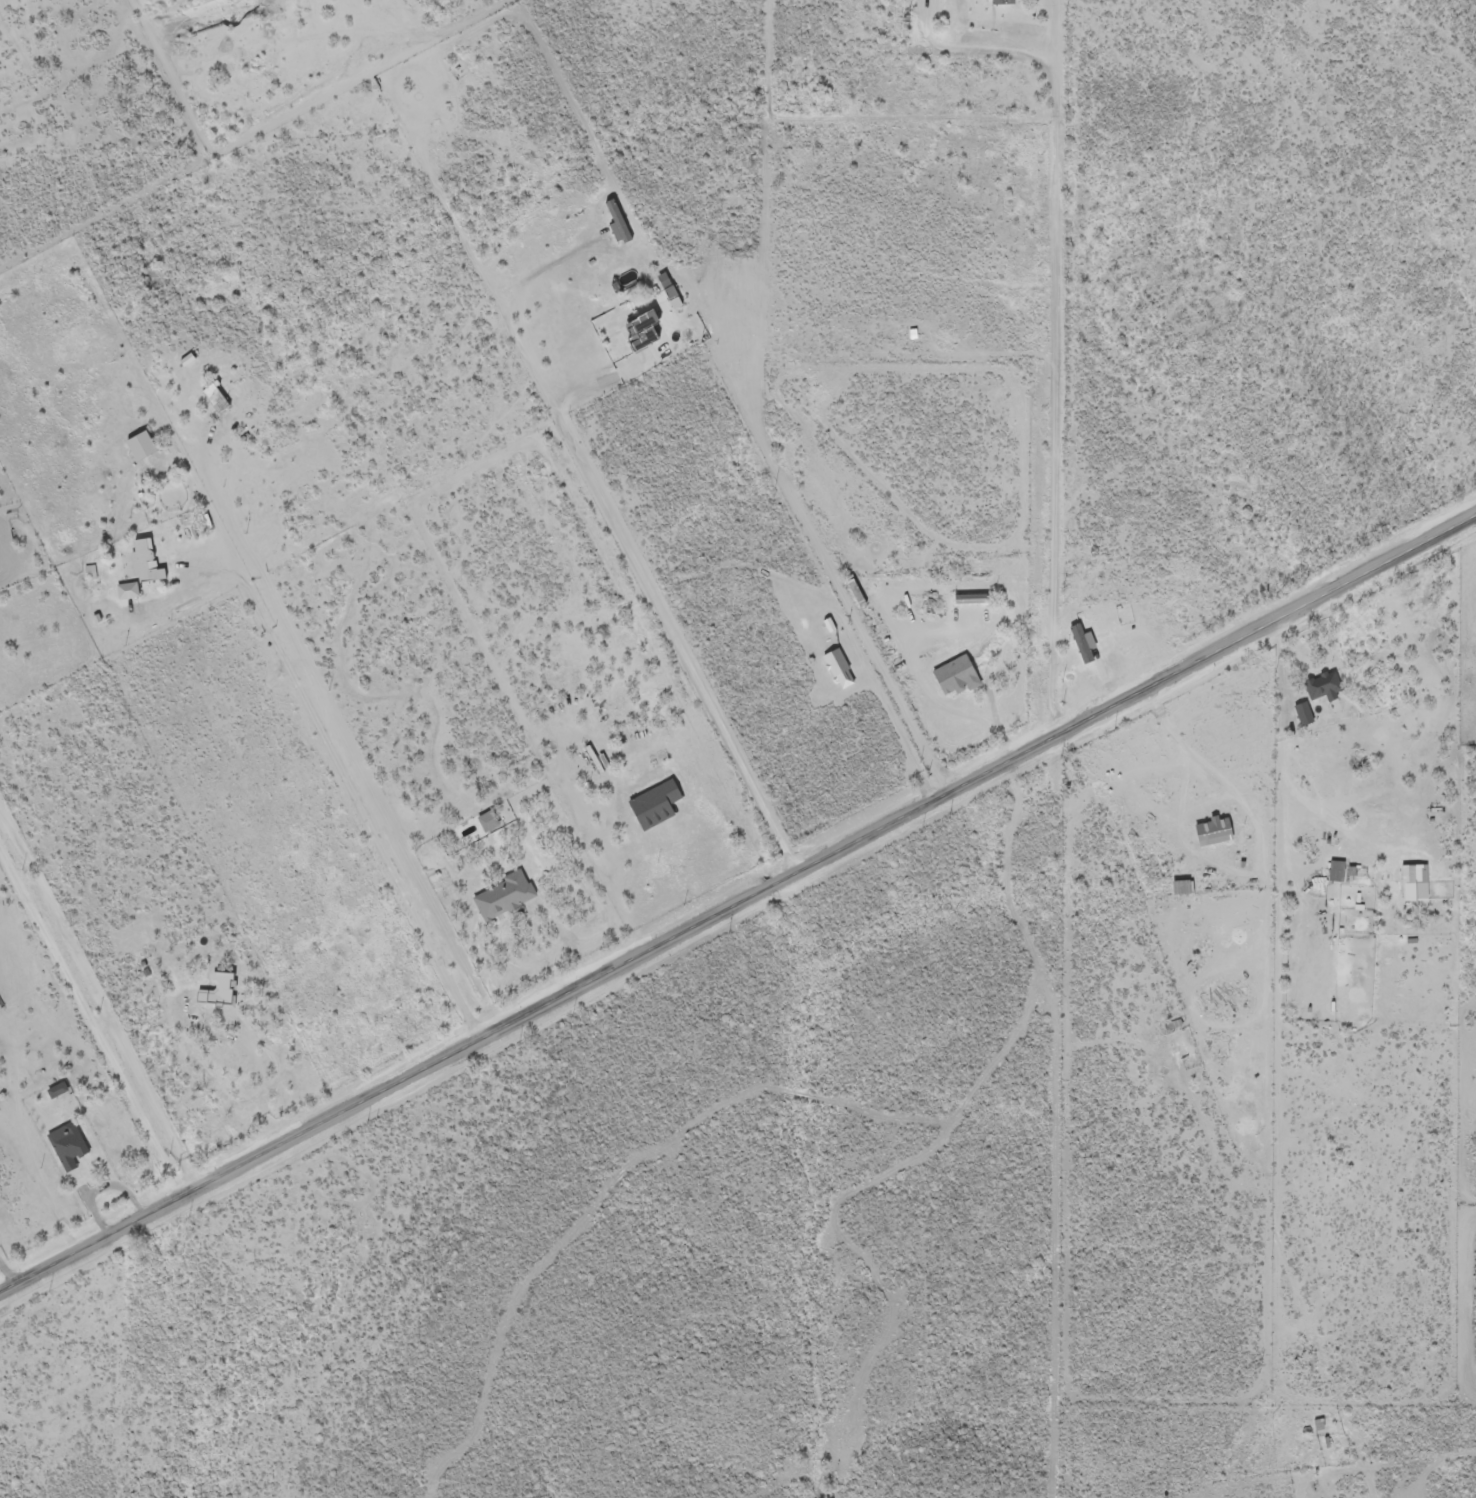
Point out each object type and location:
building: (994, 3)
building: (636, 332)
building: (143, 442)
building: (850, 596)
building: (964, 601)
road: (879, 608)
building: (1078, 645)
building: (833, 671)
building: (949, 679)
building: (1316, 688)
building: (1296, 716)
road: (1291, 805)
building: (1206, 833)
building: (1408, 885)
building: (496, 899)
road: (738, 905)
road: (1312, 951)
building: (217, 984)
building: (68, 1142)
road: (1263, 1416)

